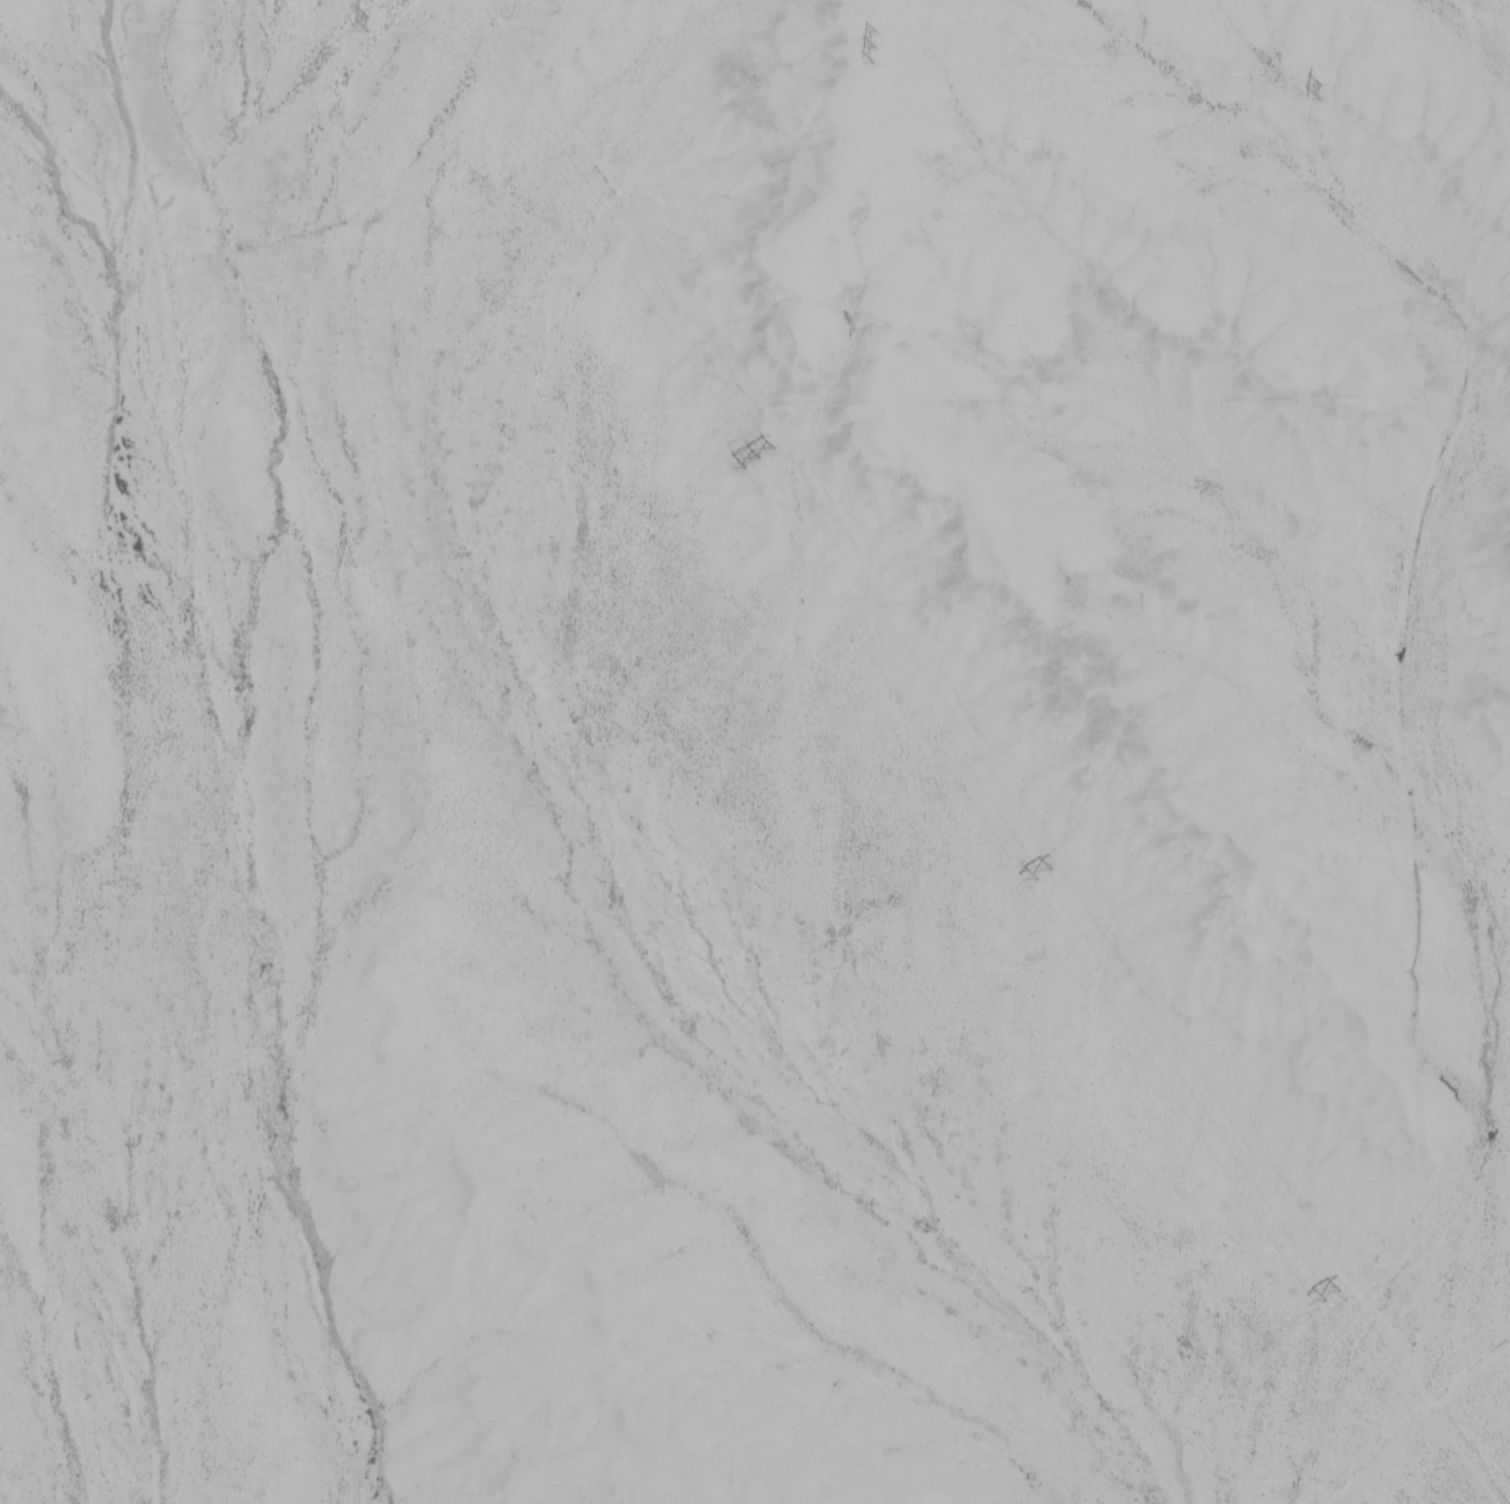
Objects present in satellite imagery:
power tower: (372, 21)
power tower: (879, 45)
power tower: (1324, 89)
power tower: (762, 456)
power tower: (1048, 875)
power tower: (1335, 1292)

